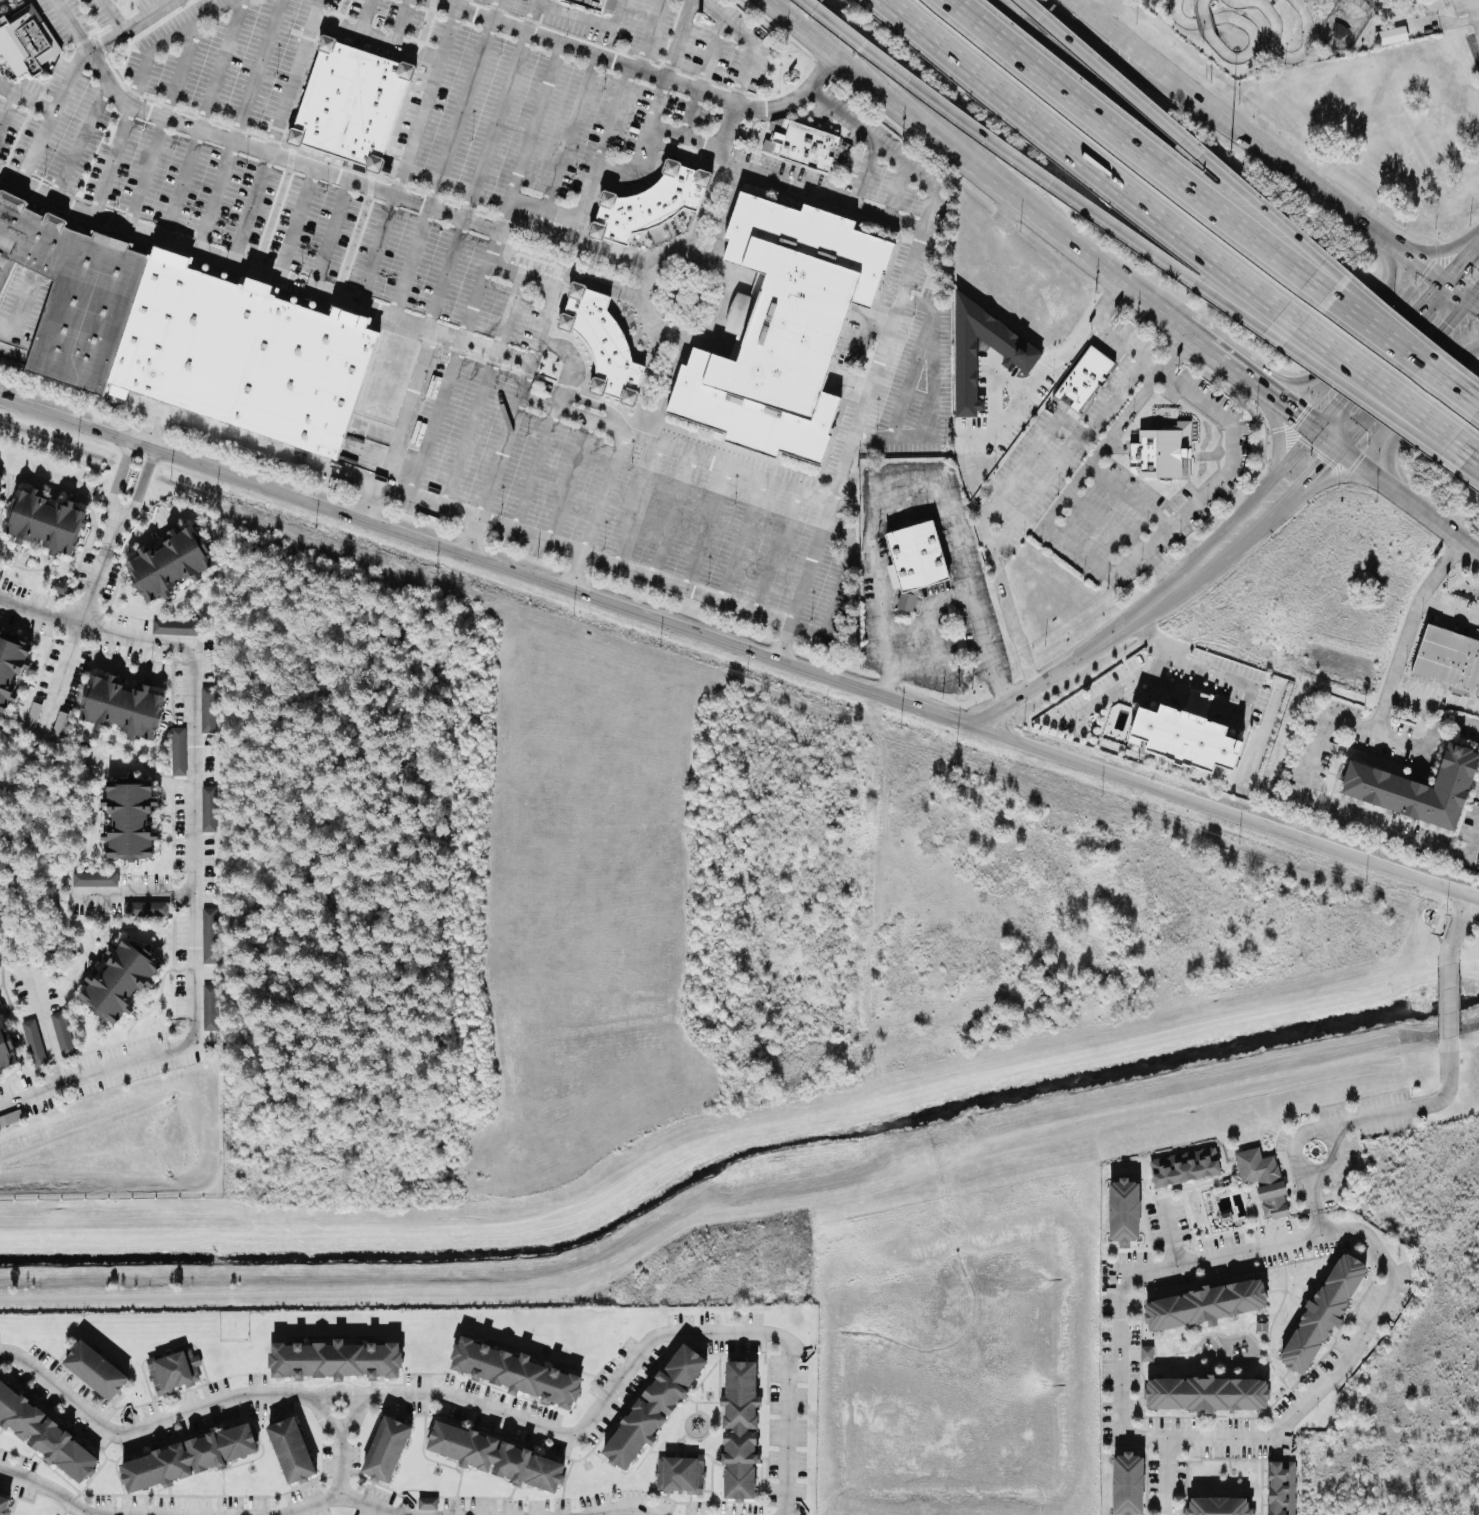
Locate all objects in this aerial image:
building: (1300, 0)
building: (1301, 0)
building: (590, 4)
road: (457, 5)
road: (1476, 6)
road: (495, 11)
road: (112, 15)
road: (364, 15)
road: (531, 17)
road: (589, 17)
road: (401, 21)
road: (129, 26)
road: (1427, 26)
road: (375, 35)
road: (648, 35)
building: (1390, 37)
building: (26, 40)
road: (679, 40)
road: (1349, 53)
road: (710, 55)
road: (748, 68)
road: (635, 69)
road: (292, 75)
road: (909, 81)
road: (1178, 81)
road: (1151, 83)
road: (136, 90)
road: (26, 100)
road: (424, 102)
building: (351, 104)
road: (923, 109)
road: (7, 113)
road: (460, 114)
road: (689, 114)
road: (50, 116)
road: (615, 117)
road: (203, 121)
road: (536, 121)
road: (163, 125)
road: (240, 127)
road: (1171, 131)
road: (570, 133)
road: (80, 141)
road: (1128, 143)
building: (800, 144)
road: (253, 146)
road: (679, 152)
road: (1087, 159)
road: (964, 162)
road: (749, 169)
road: (477, 183)
road: (592, 183)
road: (1330, 202)
building: (649, 204)
road: (249, 208)
road: (867, 211)
road: (296, 224)
road: (909, 224)
road: (330, 236)
road: (1142, 248)
road: (375, 252)
road: (411, 264)
road: (1408, 264)
road: (1457, 264)
road: (913, 265)
traffic signals: (1436, 287)
road: (478, 288)
road: (555, 292)
road: (1453, 295)
road: (1474, 298)
traffic signals: (1470, 304)
road: (1474, 307)
road: (354, 308)
road: (1383, 321)
building: (784, 326)
road: (873, 326)
road: (1104, 329)
road: (1375, 330)
building: (182, 335)
building: (603, 342)
building: (1022, 353)
road: (1375, 359)
road: (570, 363)
road: (1244, 376)
road: (1403, 376)
road: (1315, 377)
building: (1084, 379)
road: (1380, 379)
road: (1035, 380)
road: (910, 382)
road: (852, 386)
road: (996, 386)
road: (483, 389)
road: (935, 390)
road: (1461, 393)
road: (1365, 400)
road: (595, 403)
road: (1417, 408)
road: (435, 418)
road: (404, 428)
road: (1276, 430)
traffic signals: (1315, 431)
road: (250, 438)
road: (1326, 439)
traffic signals: (1337, 448)
road: (1296, 451)
road: (1477, 451)
building: (1160, 452)
road: (1025, 463)
road: (537, 467)
road: (1471, 471)
road: (119, 474)
road: (571, 479)
road: (141, 482)
road: (1300, 484)
building: (2, 487)
road: (605, 491)
road: (1037, 491)
road: (1130, 495)
road: (429, 499)
road: (880, 501)
road: (639, 503)
road: (1407, 503)
road: (674, 514)
building: (47, 520)
road: (1103, 524)
road: (822, 526)
road: (709, 528)
road: (532, 534)
road: (743, 538)
road: (1210, 540)
road: (776, 550)
building: (916, 556)
road: (1225, 557)
road: (489, 559)
building: (171, 562)
road: (1158, 562)
road: (1120, 569)
building: (1, 576)
road: (842, 589)
road: (958, 591)
road: (1165, 600)
road: (1451, 608)
road: (78, 626)
building: (174, 628)
road: (784, 641)
building: (1448, 660)
road: (1149, 663)
building: (10, 664)
road: (1199, 665)
road: (1063, 669)
road: (1390, 686)
road: (1106, 698)
road: (1434, 699)
road: (1191, 700)
building: (124, 706)
building: (207, 710)
building: (1185, 738)
road: (1432, 739)
building: (178, 752)
building: (1415, 789)
building: (207, 810)
road: (1229, 811)
building: (131, 817)
road: (1428, 845)
road: (192, 848)
building: (94, 880)
road: (131, 895)
building: (145, 910)
road: (1460, 922)
building: (208, 936)
building: (121, 979)
road: (1450, 993)
building: (209, 1008)
road: (45, 1026)
building: (62, 1034)
building: (33, 1043)
building: (5, 1046)
road: (1412, 1108)
road: (1305, 1134)
river: (738, 1154)
building: (1183, 1168)
building: (1262, 1180)
road: (1314, 1190)
building: (1122, 1211)
road: (1320, 1219)
road: (1171, 1232)
road: (1124, 1275)
building: (1208, 1303)
building: (1323, 1311)
building: (1146, 1353)
building: (339, 1360)
building: (98, 1368)
building: (174, 1368)
building: (517, 1371)
building: (1209, 1392)
road: (1313, 1393)
building: (656, 1405)
road: (489, 1410)
building: (740, 1429)
building: (46, 1433)
road: (340, 1444)
building: (387, 1447)
building: (292, 1449)
building: (496, 1454)
building: (189, 1455)
building: (682, 1473)
building: (1130, 1484)
building: (1281, 1488)
road: (47, 1490)
road: (339, 1494)
building: (4, 1504)
building: (427, 1504)
road: (622, 1506)
building: (1220, 1506)

